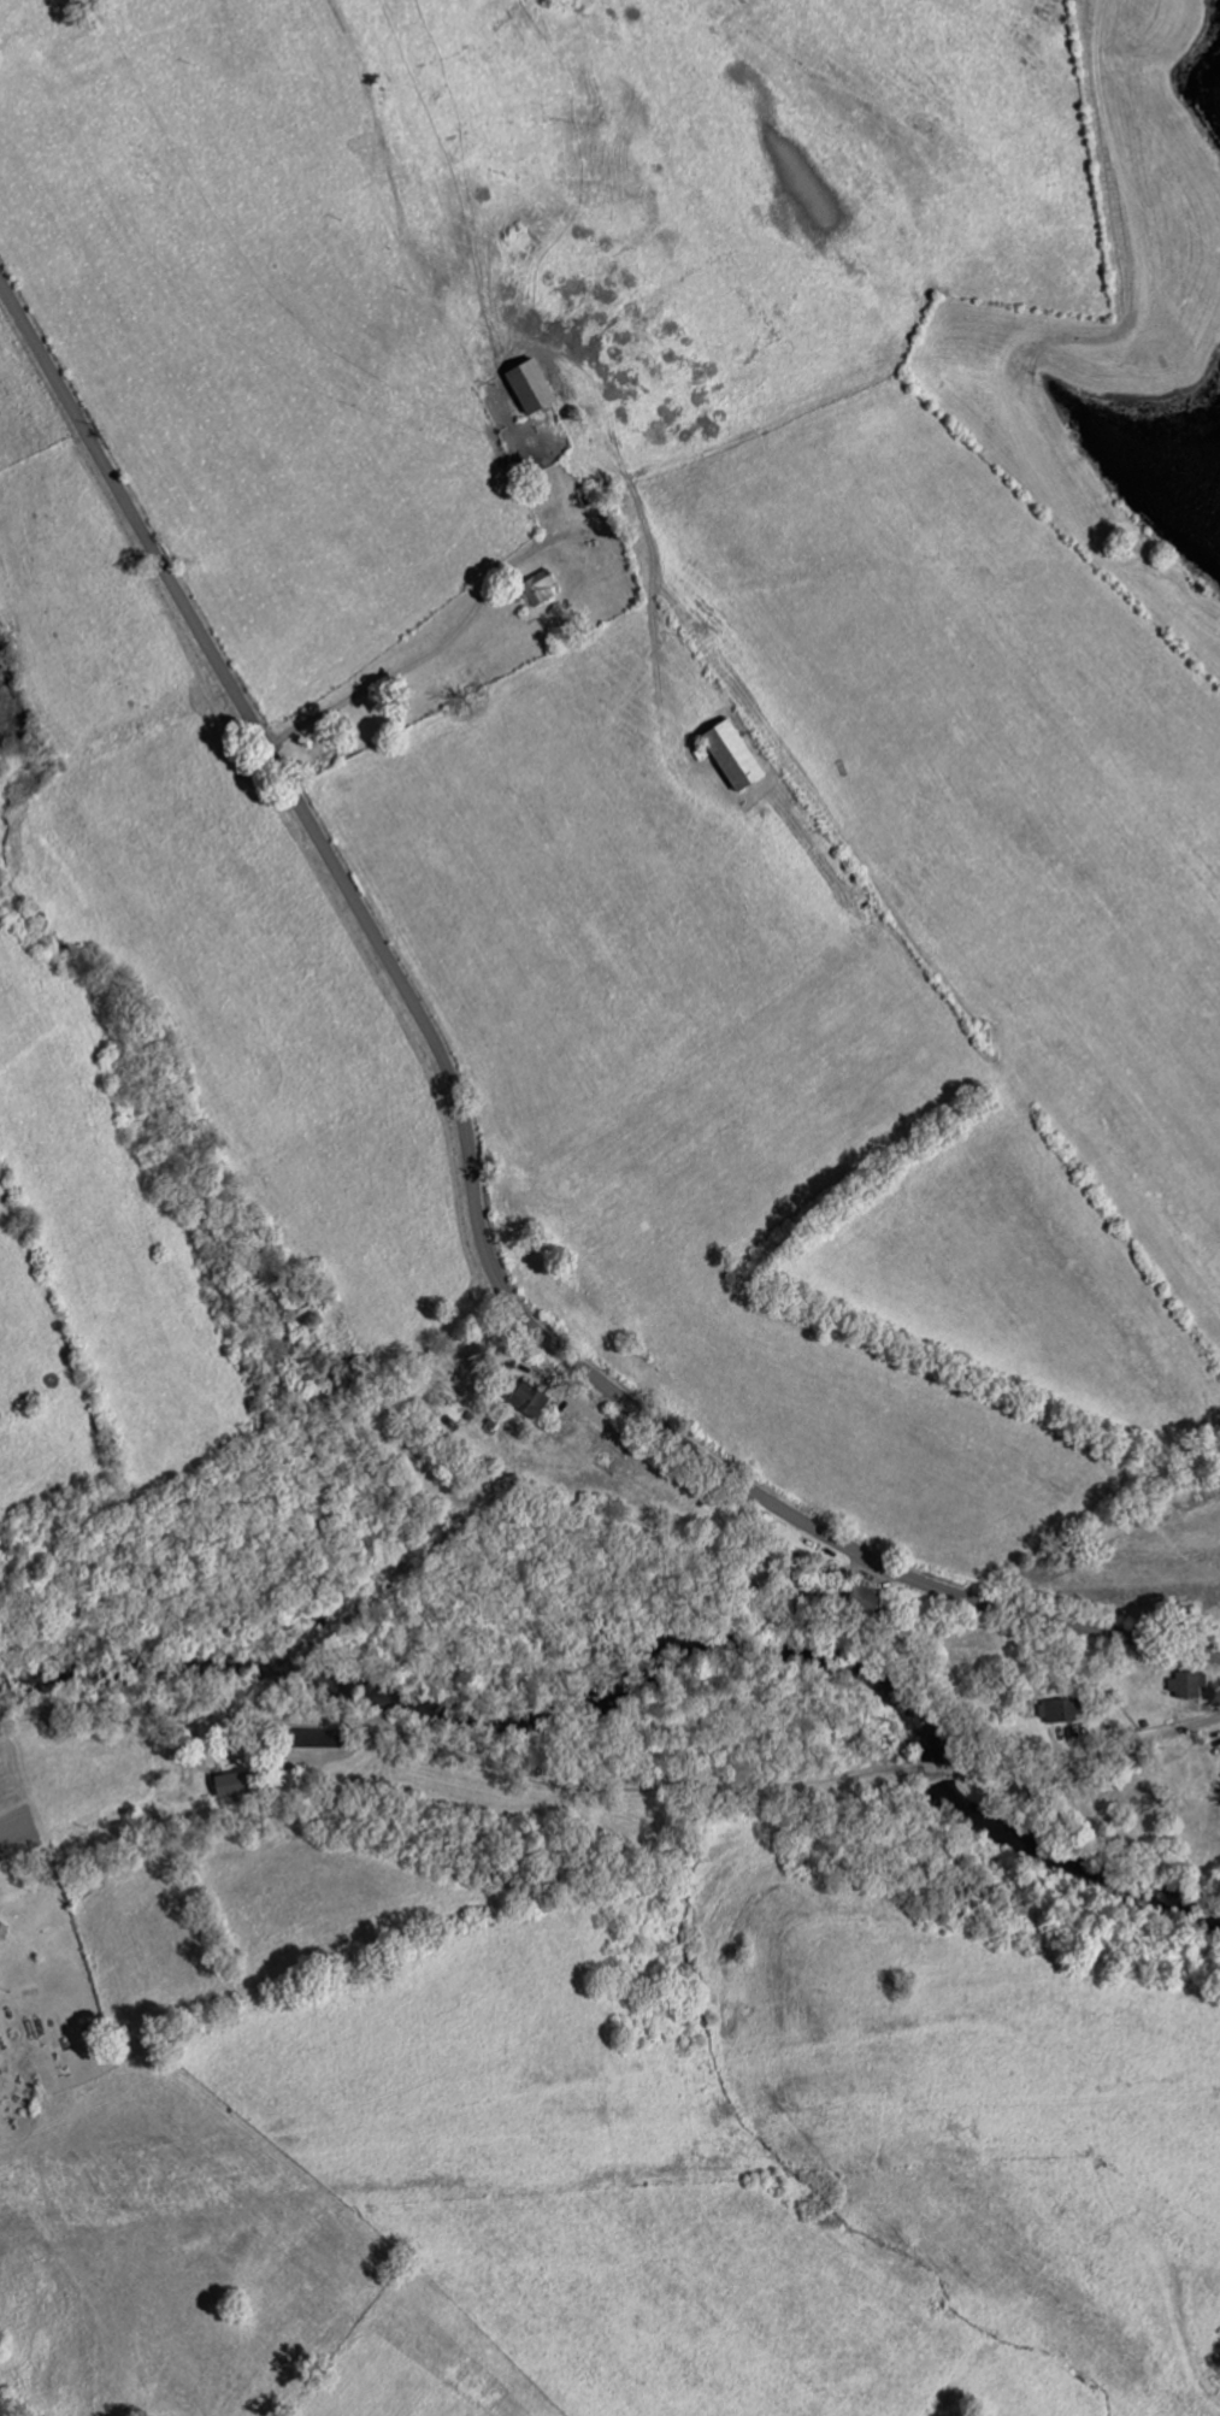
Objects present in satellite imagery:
building: (524, 385)
road: (497, 538)
building: (726, 755)
road: (466, 1139)
building: (519, 1397)
building: (1219, 1459)
building: (860, 1599)
building: (1184, 1686)
building: (1056, 1713)
road: (456, 1742)
road: (927, 1767)
road: (1084, 1767)
building: (225, 1786)
building: (2, 1932)

